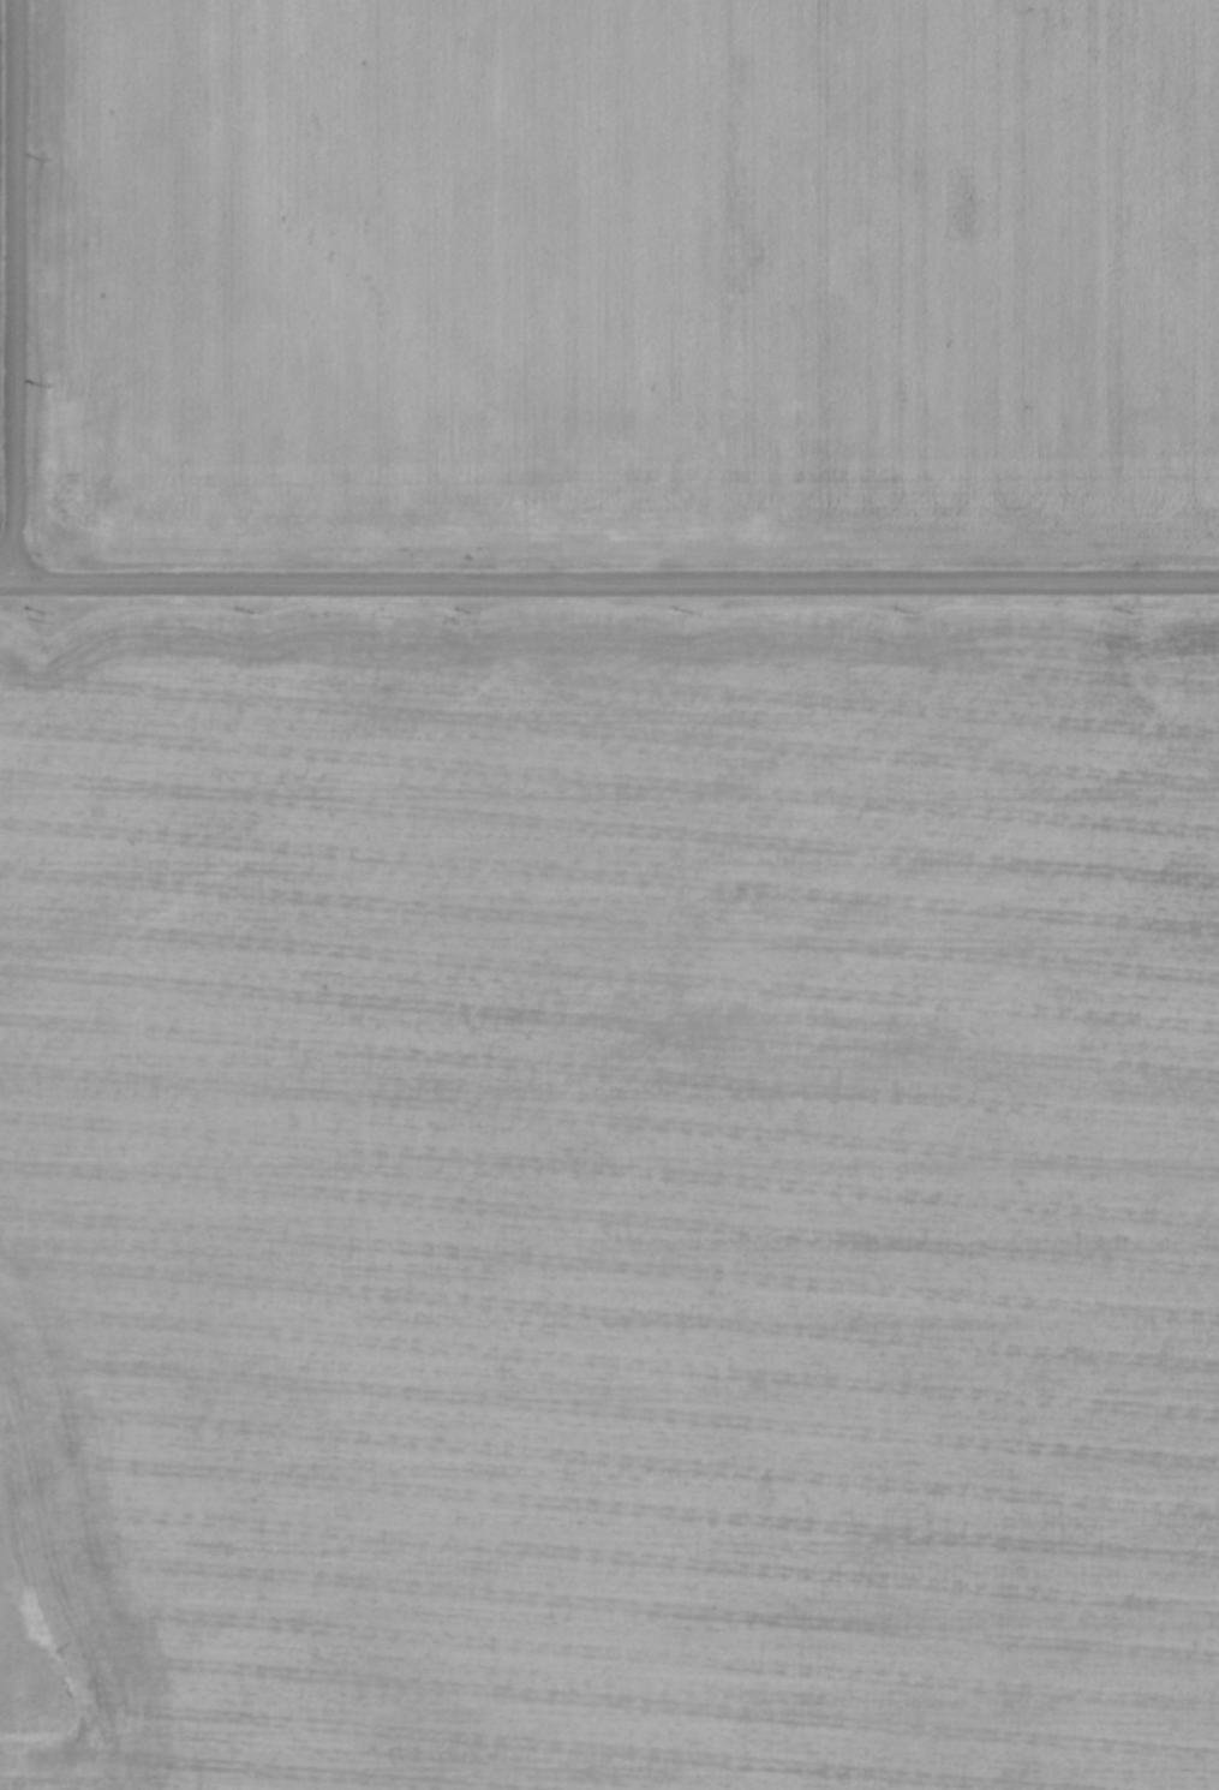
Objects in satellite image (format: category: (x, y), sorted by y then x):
crop: (633, 278)
road: (14, 282)
road: (24, 566)
road: (609, 580)
crop: (609, 1197)

